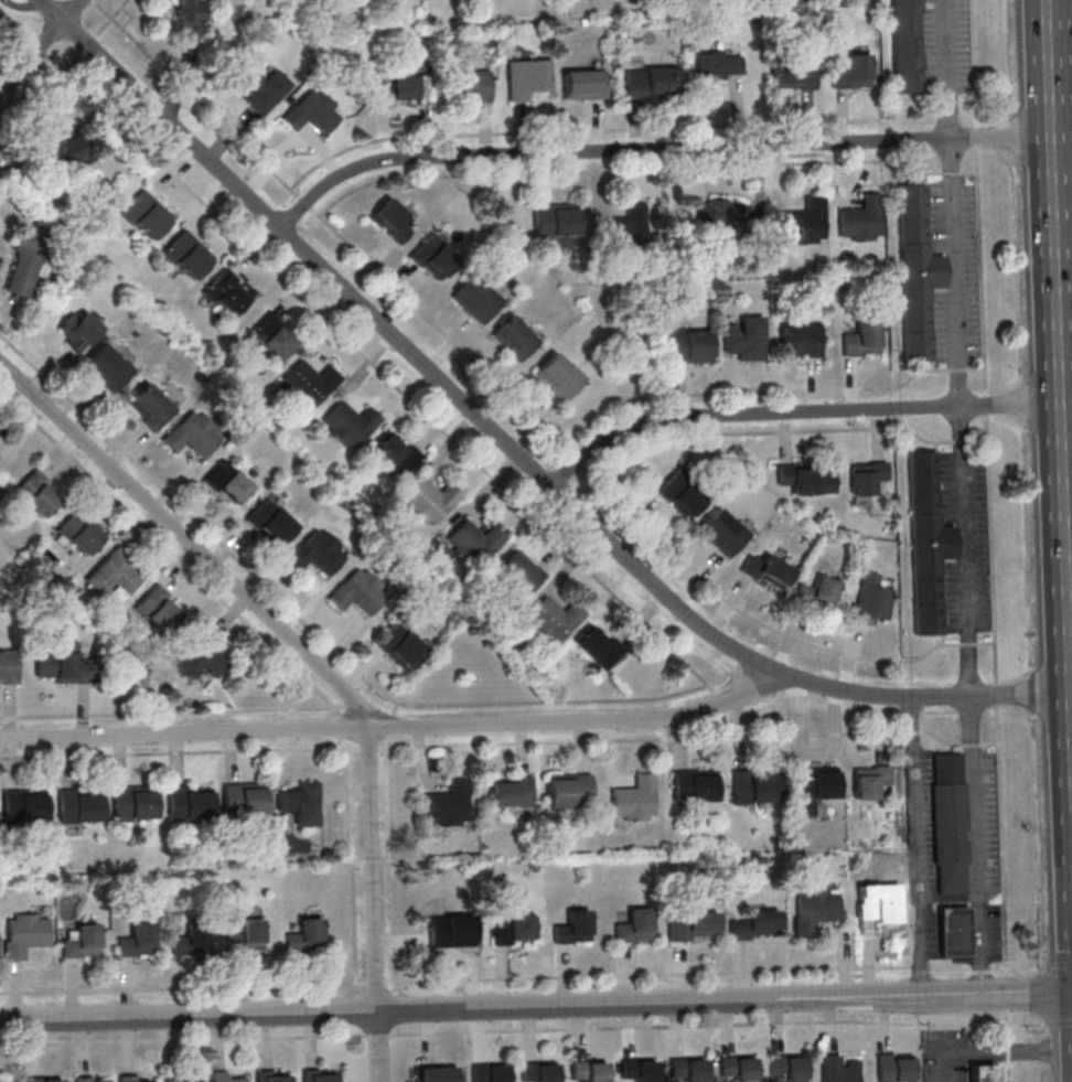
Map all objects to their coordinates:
road: (109, 18)
building: (190, 18)
road: (17, 23)
road: (88, 43)
parking lot: (946, 44)
road: (40, 45)
building: (905, 45)
road: (921, 49)
road: (36, 52)
road: (974, 64)
building: (718, 65)
road: (947, 68)
building: (853, 72)
building: (793, 76)
building: (527, 77)
building: (472, 82)
building: (651, 82)
building: (585, 84)
building: (262, 88)
building: (411, 88)
road: (967, 100)
road: (948, 103)
road: (31, 111)
building: (313, 113)
road: (610, 128)
road: (1061, 135)
road: (976, 136)
road: (655, 148)
building: (67, 151)
road: (613, 169)
road: (929, 172)
road: (951, 172)
road: (968, 172)
building: (146, 215)
building: (717, 216)
building: (861, 219)
building: (393, 221)
building: (556, 222)
building: (805, 222)
building: (623, 231)
building: (186, 255)
building: (433, 257)
building: (23, 264)
road: (979, 269)
road: (945, 270)
building: (916, 274)
building: (226, 292)
building: (475, 299)
building: (77, 330)
building: (272, 336)
building: (515, 338)
building: (746, 338)
building: (800, 340)
building: (862, 340)
building: (689, 345)
building: (108, 366)
road: (1059, 371)
road: (384, 373)
building: (559, 376)
building: (310, 383)
road: (500, 387)
road: (767, 392)
road: (985, 403)
building: (150, 407)
road: (800, 413)
road: (961, 417)
building: (349, 424)
road: (829, 429)
building: (193, 436)
road: (979, 439)
road: (963, 440)
road: (508, 448)
building: (394, 453)
building: (807, 479)
building: (865, 479)
building: (227, 482)
building: (36, 493)
building: (680, 494)
building: (429, 500)
building: (270, 522)
building: (723, 532)
building: (79, 533)
road: (186, 542)
building: (473, 542)
building: (925, 543)
road: (165, 546)
building: (317, 553)
building: (768, 571)
building: (114, 574)
building: (518, 574)
building: (358, 591)
building: (816, 592)
building: (870, 599)
building: (158, 609)
building: (554, 619)
road: (310, 628)
road: (986, 642)
road: (967, 644)
building: (598, 645)
building: (399, 646)
building: (203, 656)
building: (62, 665)
building: (9, 666)
road: (997, 685)
road: (722, 697)
road: (165, 711)
road: (395, 725)
road: (356, 730)
road: (680, 737)
road: (180, 752)
building: (868, 781)
building: (693, 786)
building: (753, 788)
building: (813, 788)
building: (568, 790)
building: (511, 792)
building: (242, 799)
building: (634, 799)
building: (132, 801)
building: (187, 801)
building: (300, 802)
building: (23, 805)
building: (77, 805)
building: (448, 805)
building: (950, 824)
road: (393, 840)
road: (976, 843)
road: (916, 844)
road: (353, 865)
road: (374, 867)
building: (815, 912)
building: (877, 914)
building: (633, 926)
building: (753, 926)
building: (572, 928)
building: (693, 928)
building: (513, 929)
building: (451, 931)
building: (954, 931)
building: (23, 934)
building: (247, 936)
building: (304, 936)
building: (137, 940)
building: (191, 941)
building: (81, 942)
road: (916, 965)
road: (647, 974)
road: (375, 982)
road: (183, 987)
road: (723, 998)
road: (1018, 1000)
road: (189, 1015)
road: (1058, 1022)
road: (718, 1025)
road: (377, 1035)
road: (183, 1039)
road: (1007, 1044)
road: (378, 1046)
road: (996, 1053)
building: (738, 1067)
building: (787, 1067)
building: (688, 1068)
building: (894, 1068)
building: (637, 1069)
building: (838, 1069)
building: (589, 1070)
building: (538, 1071)
building: (438, 1072)
building: (489, 1072)
building: (984, 1072)
building: (319, 1075)
building: (224, 1076)
building: (272, 1076)
building: (129, 1078)
building: (44, 1079)
building: (82, 1079)
building: (180, 1079)
building: (7, 1081)
building: (100, 1081)

